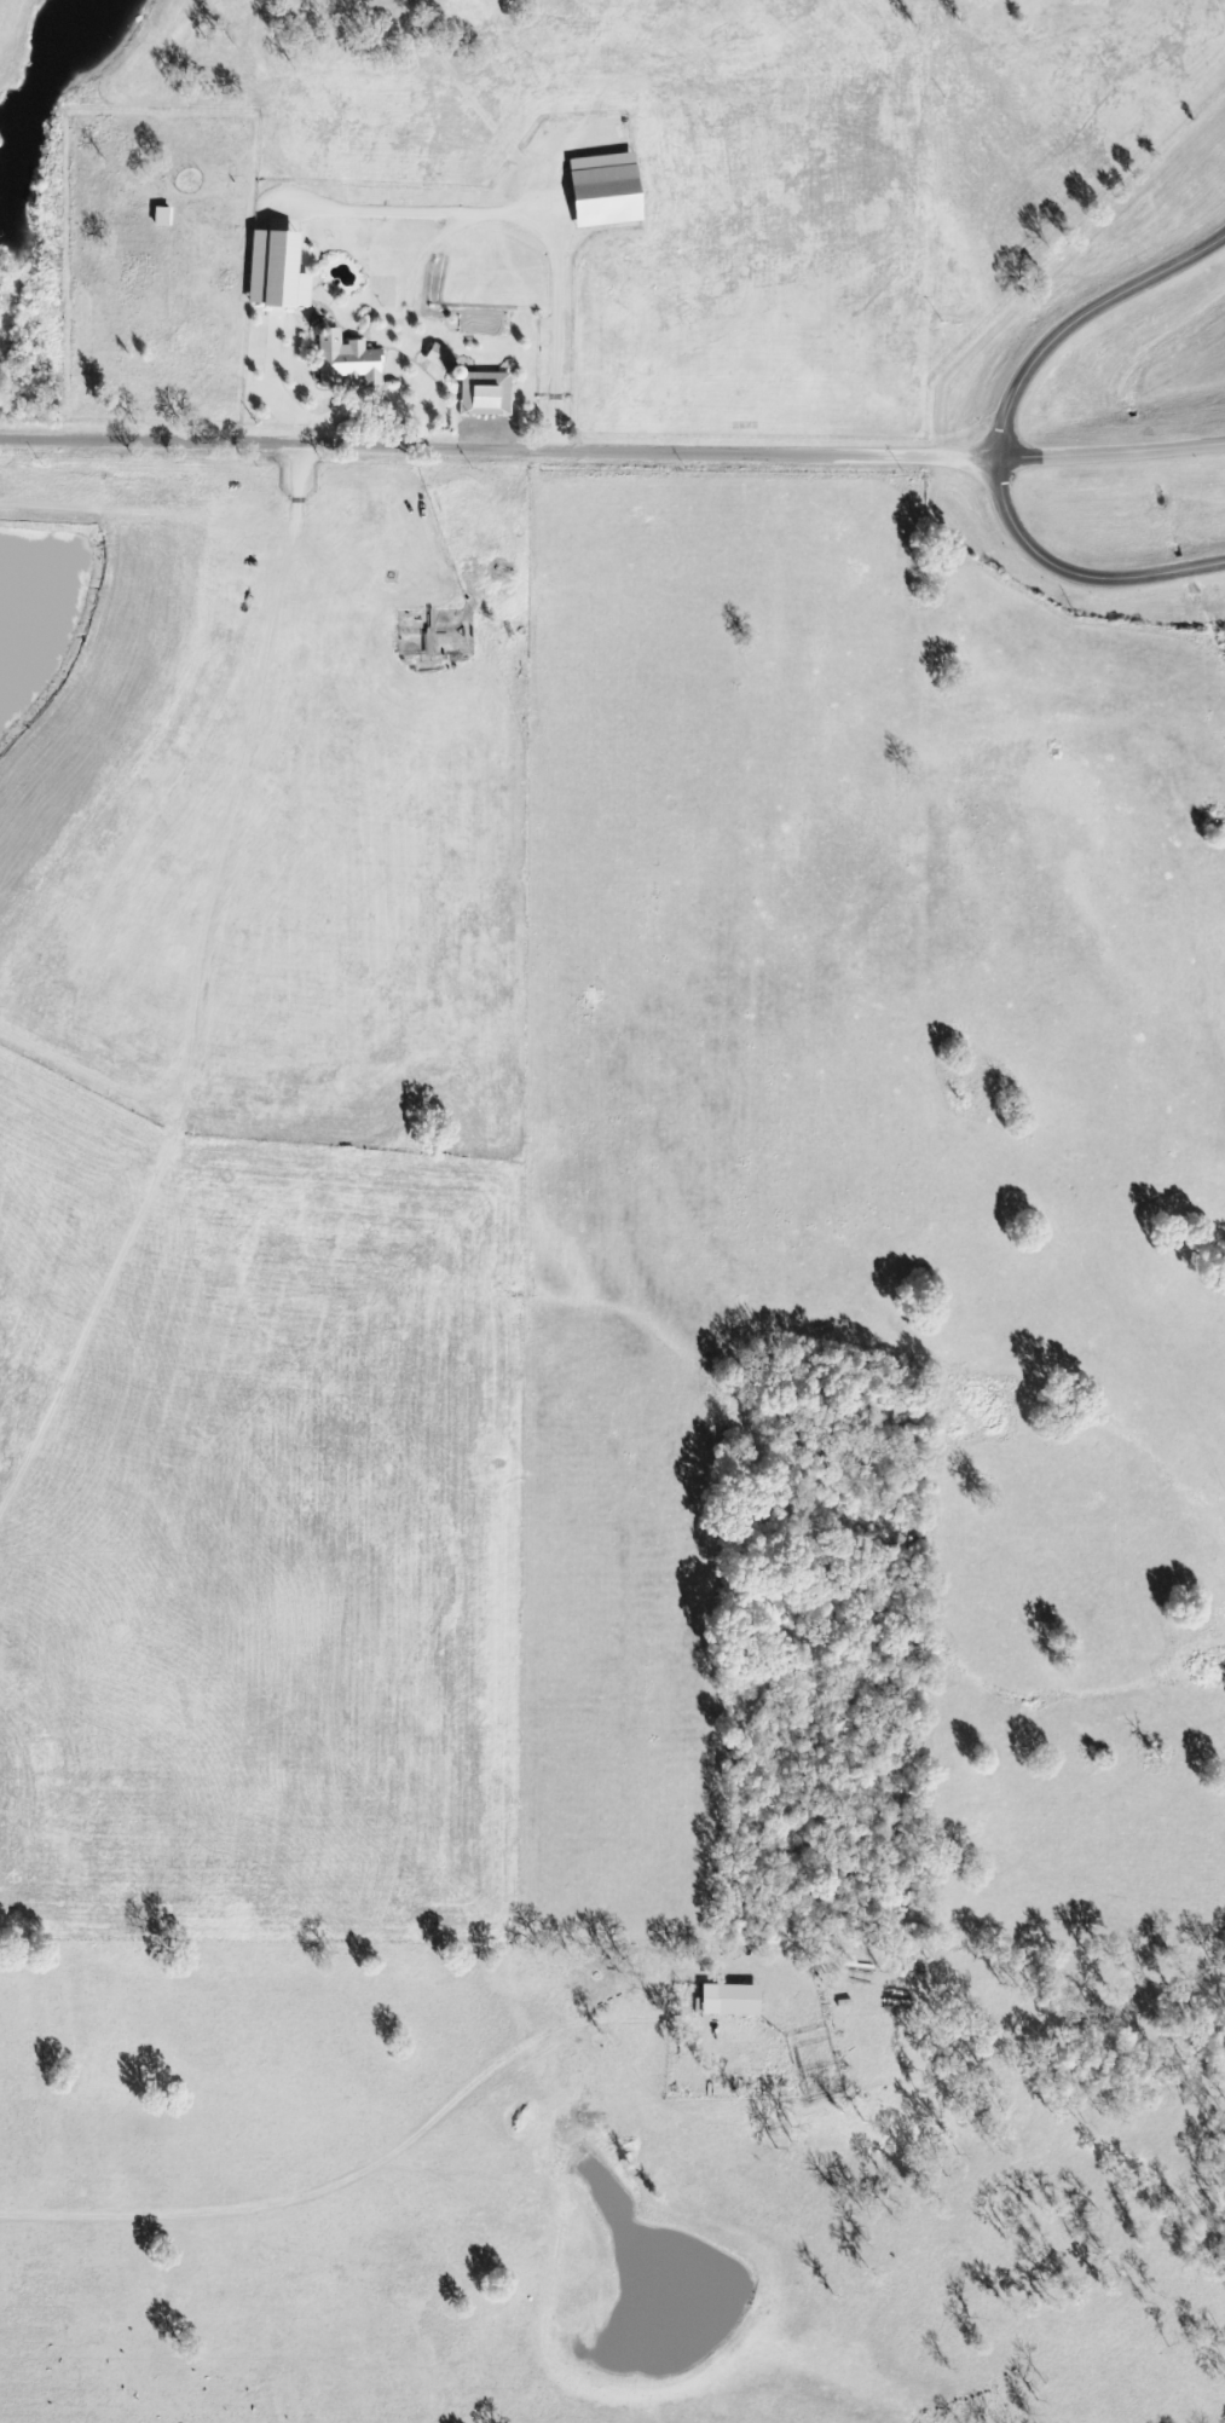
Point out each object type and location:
building: (601, 191)
building: (273, 272)
road: (1079, 318)
building: (439, 358)
building: (345, 360)
building: (484, 394)
road: (612, 451)
road: (1073, 576)
building: (734, 1993)

